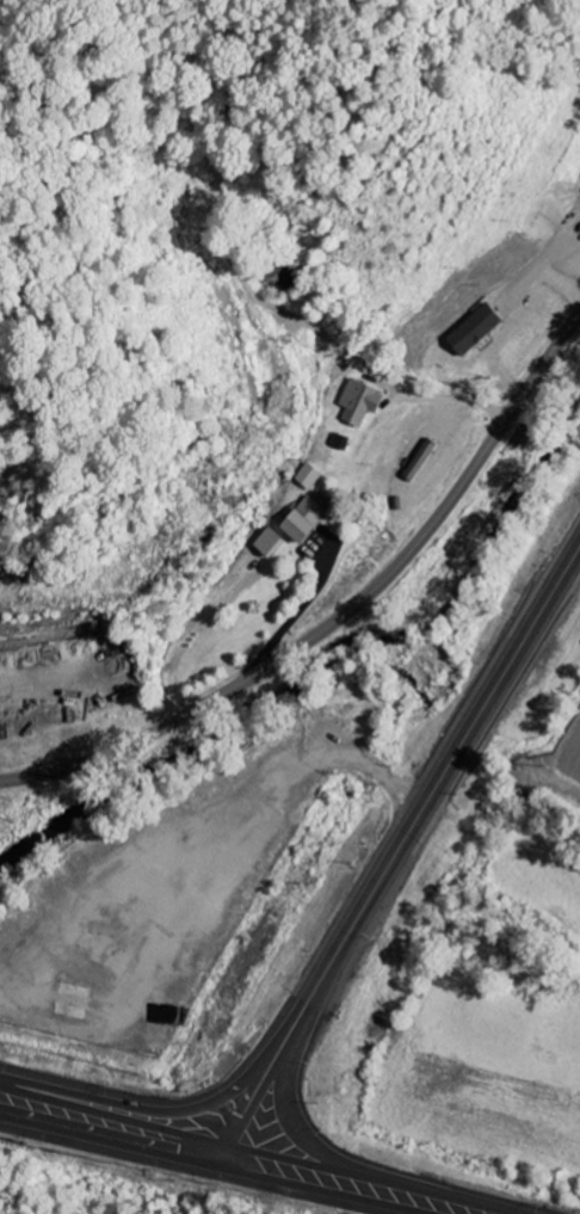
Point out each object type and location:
building: (354, 403)
building: (332, 443)
building: (304, 479)
building: (298, 520)
building: (264, 544)
road: (343, 614)
road: (340, 760)
river: (17, 846)
road: (399, 852)
road: (113, 1113)
road: (109, 1141)
road: (351, 1166)
road: (341, 1185)

